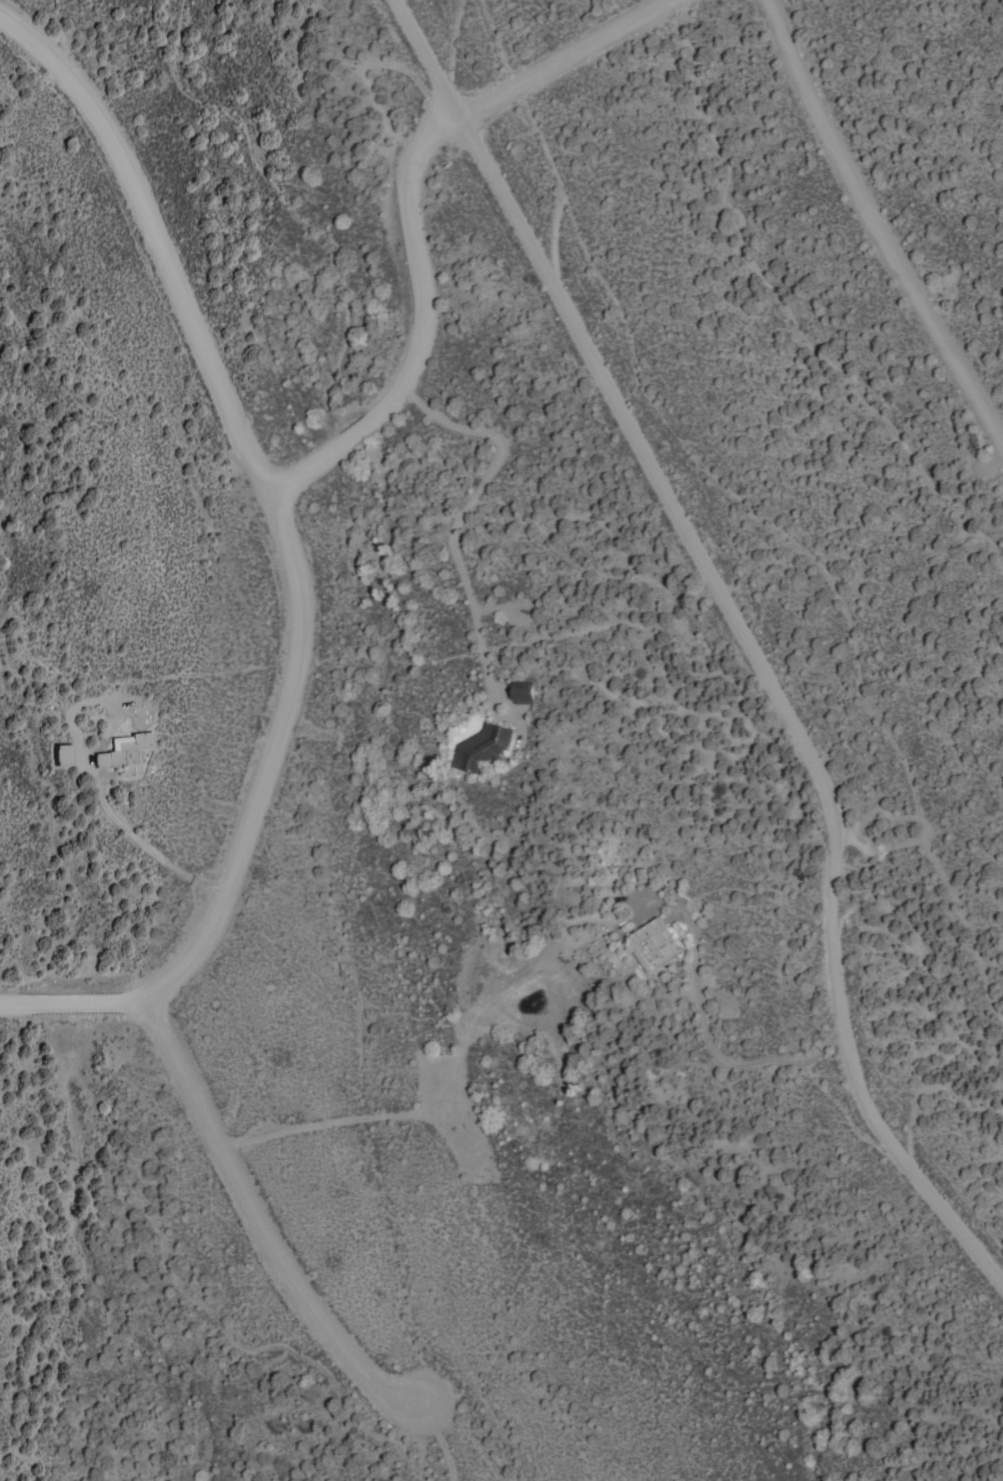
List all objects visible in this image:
road: (562, 56)
road: (878, 228)
road: (410, 321)
road: (283, 555)
road: (742, 636)
building: (524, 691)
building: (483, 747)
building: (125, 749)
building: (65, 754)
building: (134, 767)
building: (655, 944)
road: (256, 1217)

